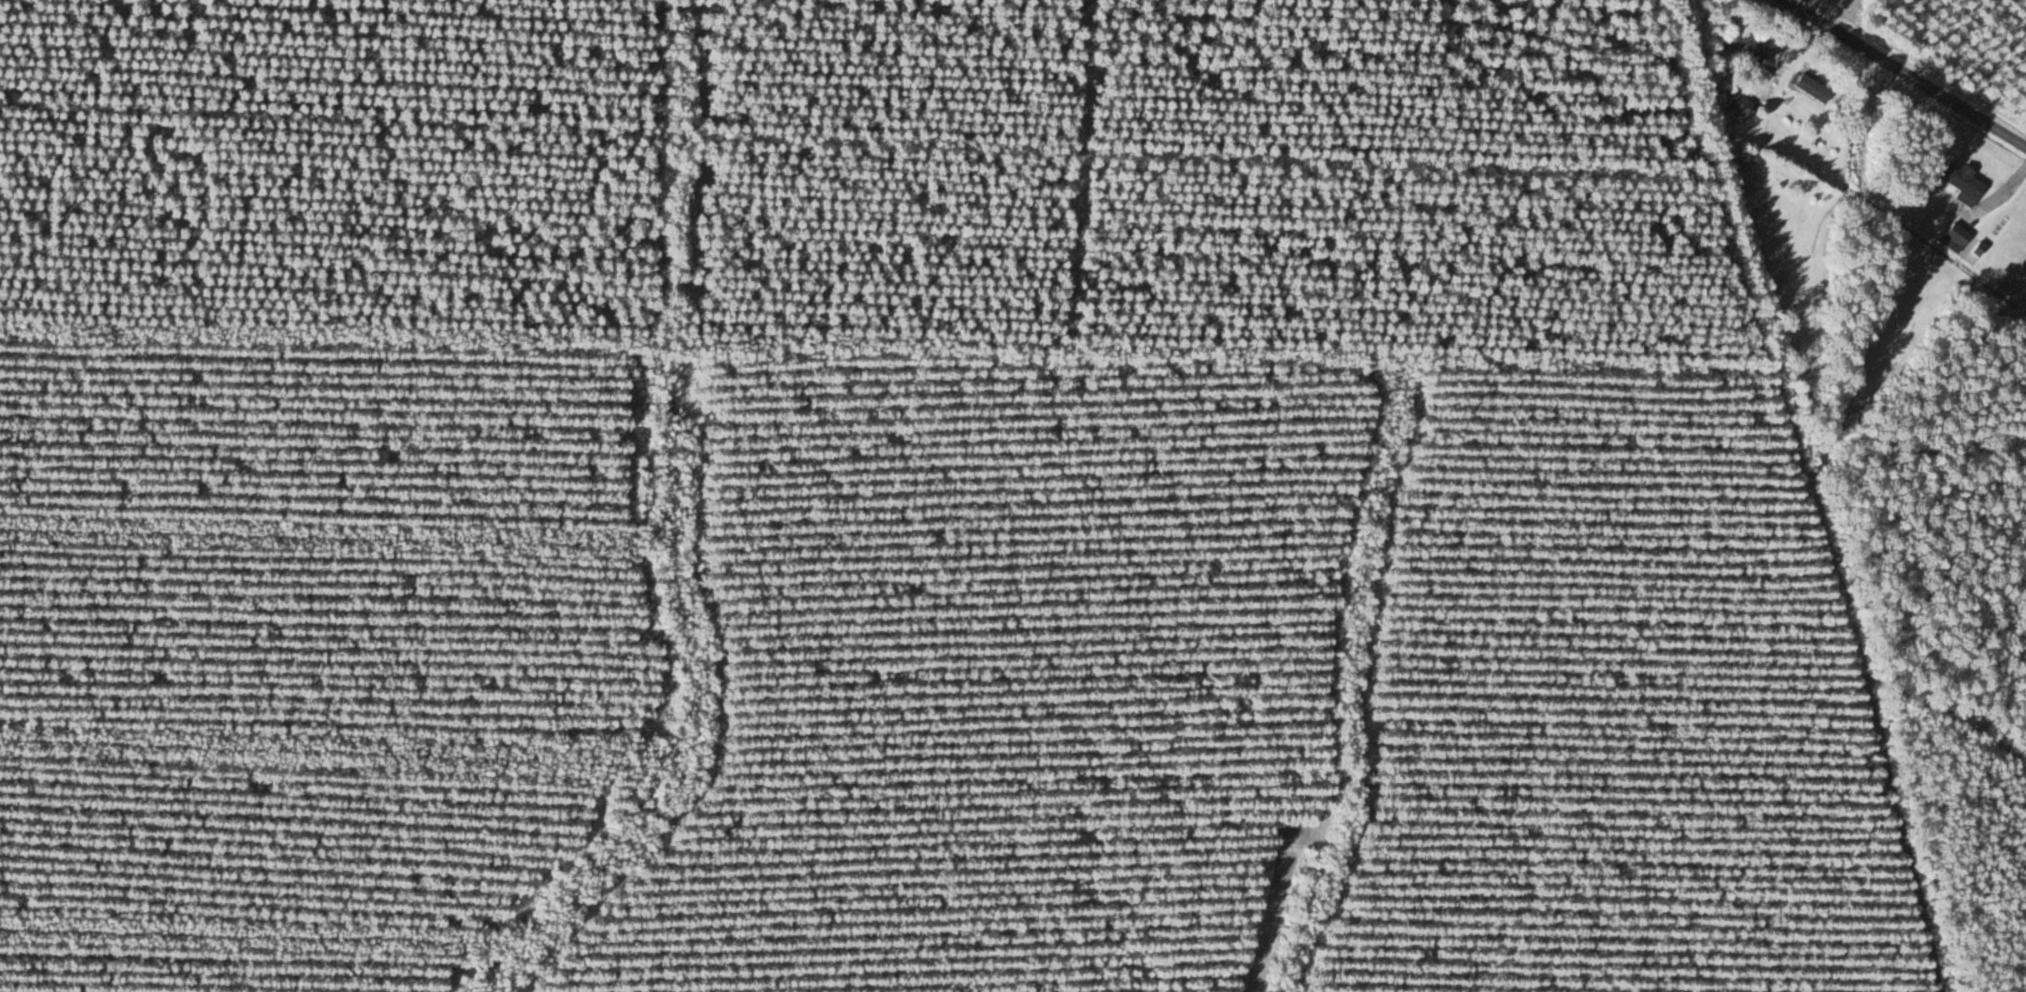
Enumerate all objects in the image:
building: (1743, 46)
road: (1915, 67)
building: (1812, 88)
building: (1740, 104)
building: (1962, 183)
building: (1955, 237)

